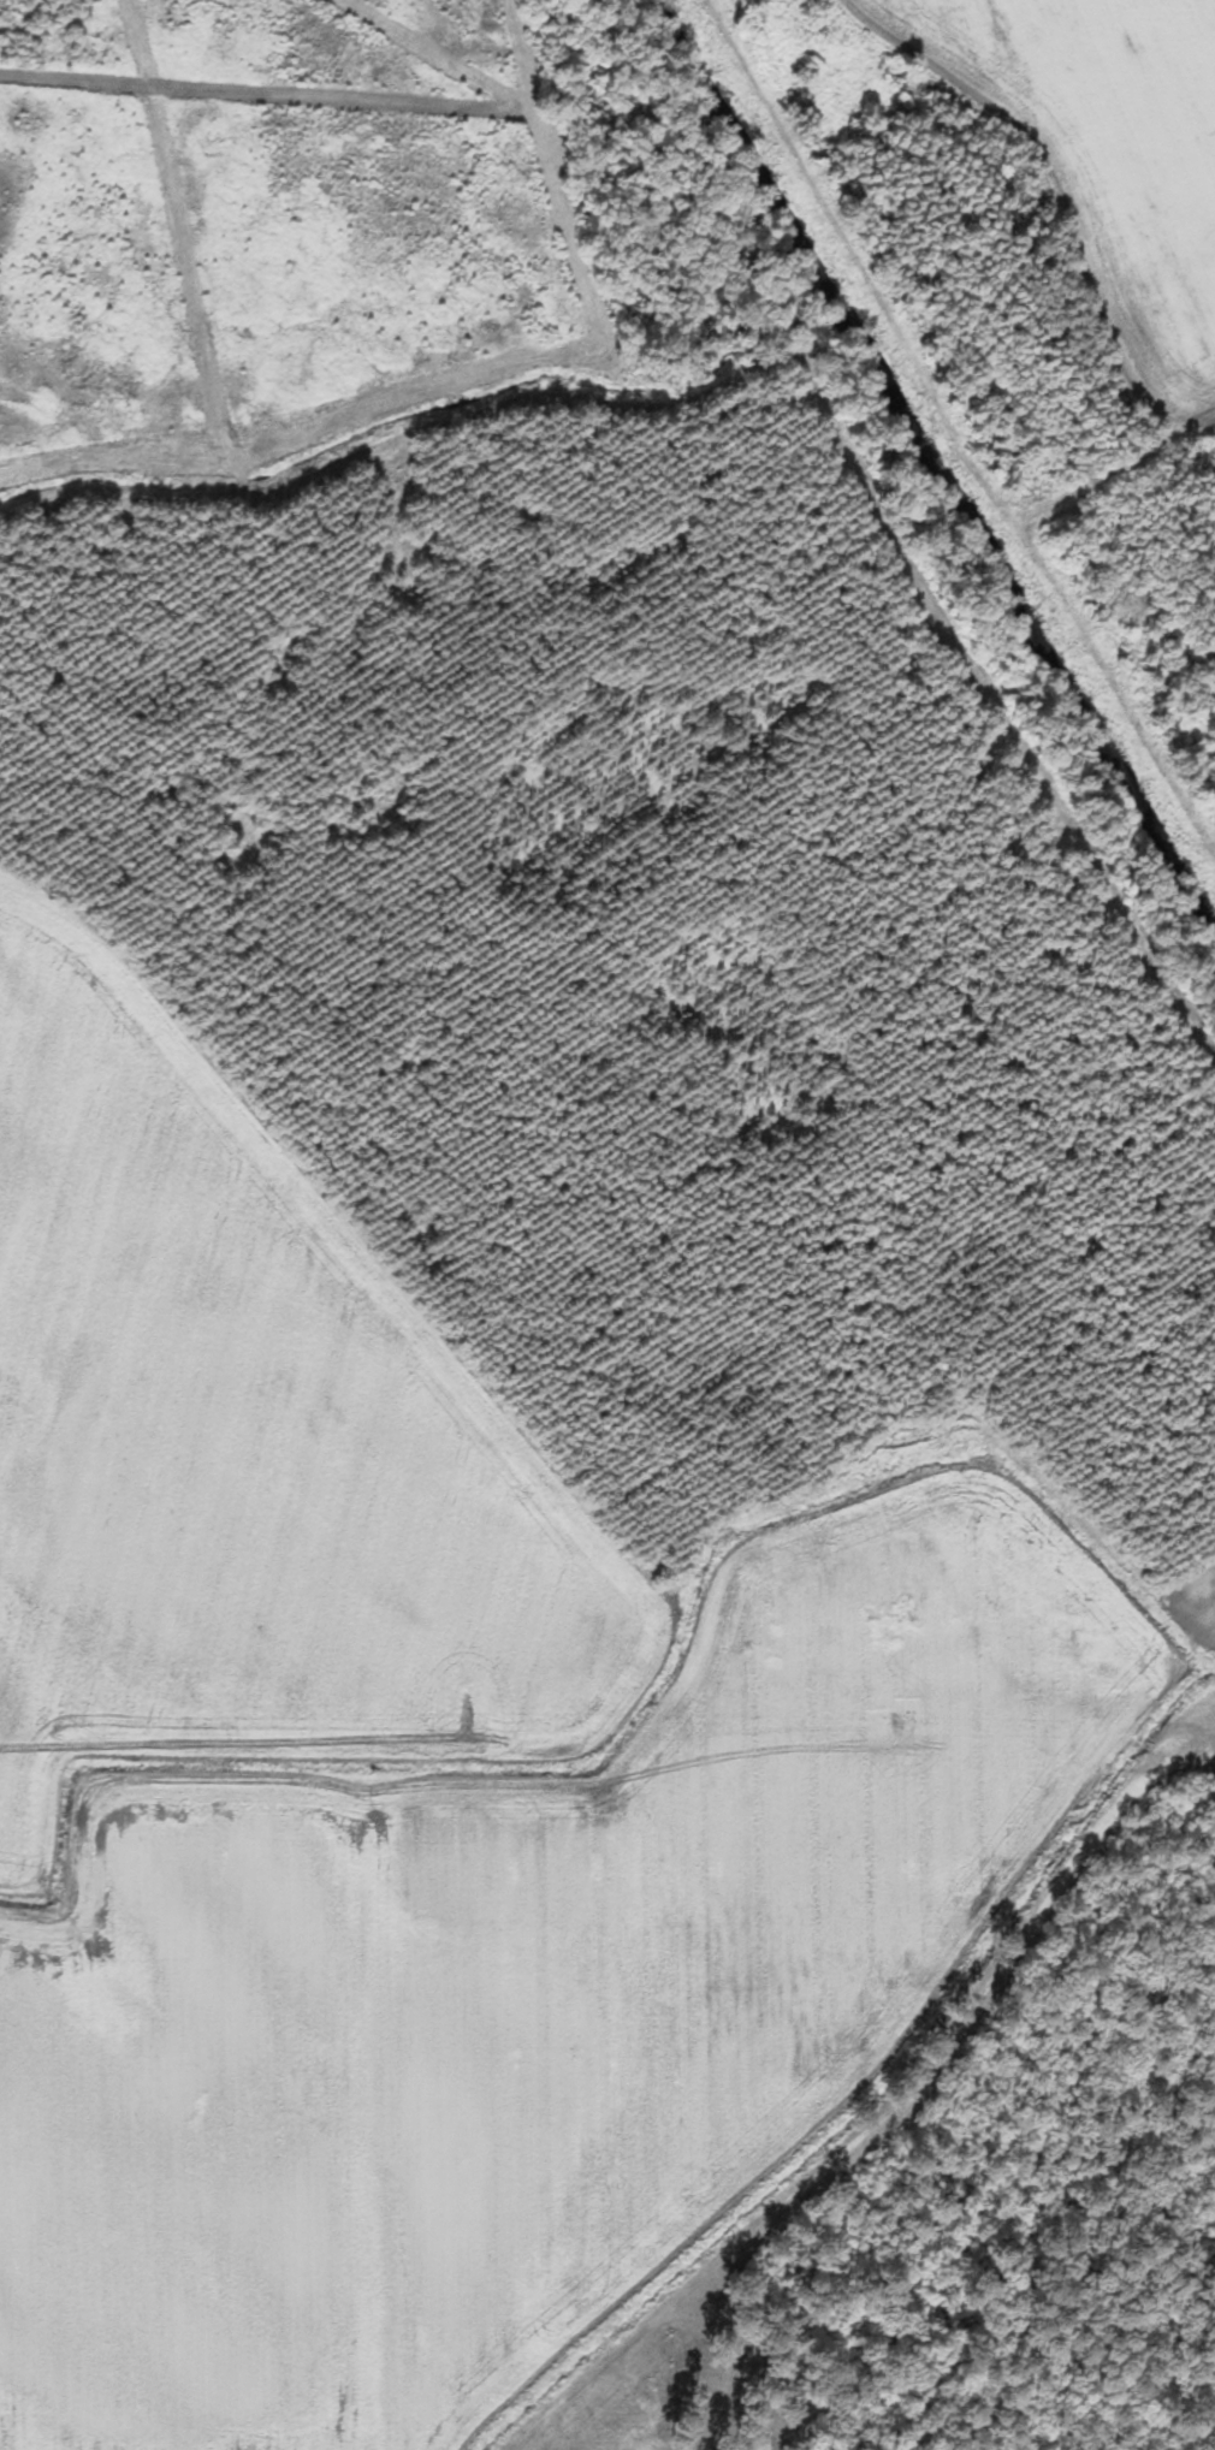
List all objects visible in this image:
power tower: (466, 1719)
power tower: (896, 1725)

